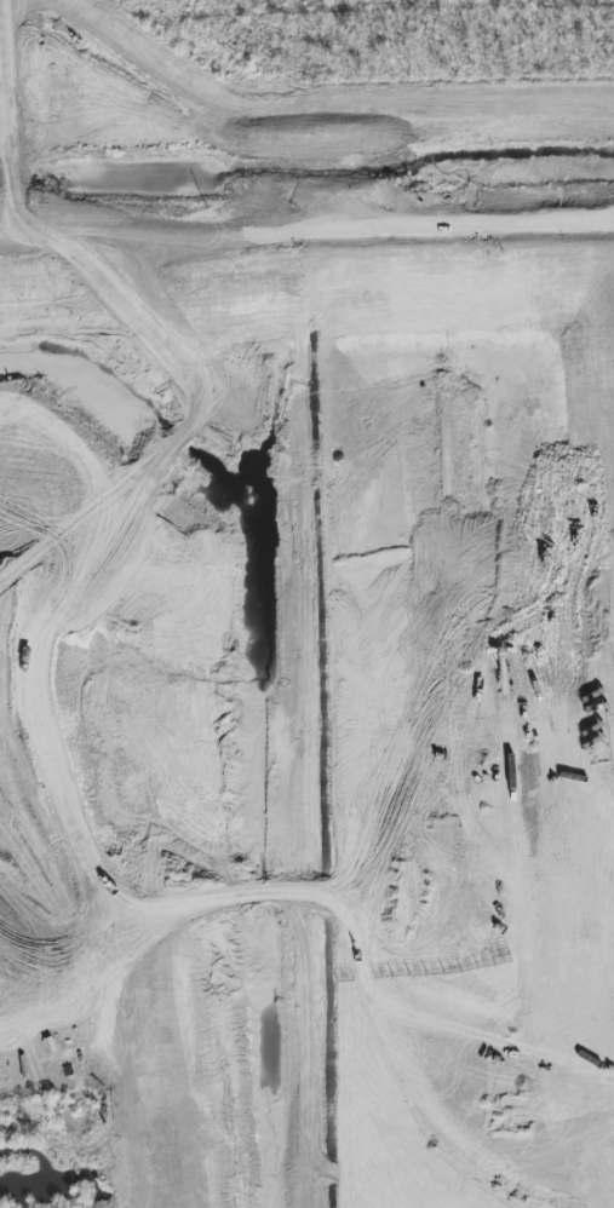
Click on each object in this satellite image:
landfill: (415, 1169)

